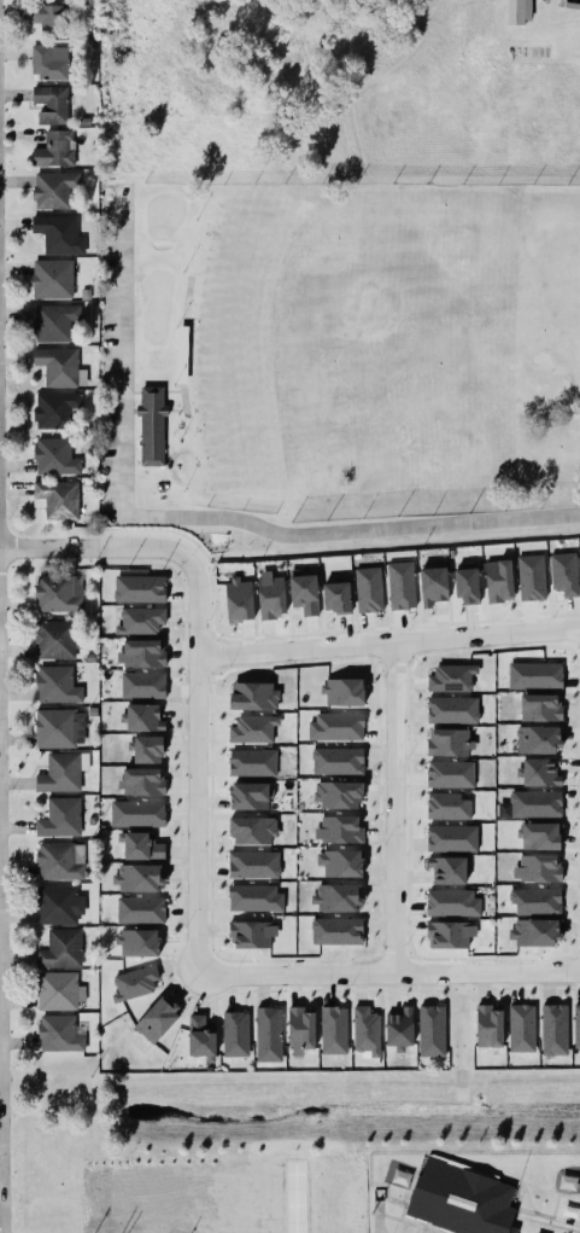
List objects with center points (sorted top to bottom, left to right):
road: (568, 5)
road: (526, 8)
building: (514, 11)
building: (49, 18)
building: (49, 62)
building: (52, 104)
building: (55, 149)
building: (54, 188)
park: (163, 211)
building: (59, 234)
building: (53, 279)
park: (154, 303)
building: (54, 321)
road: (182, 344)
park: (355, 347)
road: (123, 365)
building: (60, 366)
parking lot: (107, 370)
road: (130, 391)
building: (58, 409)
road: (128, 409)
road: (174, 409)
road: (163, 417)
building: (150, 424)
building: (55, 456)
building: (58, 499)
road: (351, 529)
road: (94, 547)
building: (564, 572)
building: (532, 577)
building: (499, 580)
building: (467, 583)
building: (402, 584)
building: (434, 584)
building: (140, 588)
building: (369, 589)
building: (304, 592)
building: (59, 593)
building: (270, 595)
building: (336, 597)
building: (240, 599)
building: (140, 621)
building: (54, 639)
road: (388, 641)
building: (141, 653)
building: (535, 675)
building: (452, 677)
building: (57, 685)
building: (142, 685)
building: (344, 692)
building: (254, 696)
building: (540, 706)
building: (452, 709)
building: (142, 717)
building: (336, 726)
building: (59, 728)
building: (253, 728)
building: (538, 739)
building: (450, 741)
building: (147, 749)
building: (338, 761)
building: (252, 762)
building: (63, 772)
building: (540, 772)
building: (451, 774)
building: (142, 781)
building: (338, 793)
building: (248, 796)
building: (535, 803)
building: (449, 805)
road: (396, 807)
building: (137, 813)
building: (60, 818)
building: (339, 830)
building: (253, 831)
building: (540, 836)
building: (452, 838)
building: (141, 845)
building: (60, 860)
building: (340, 862)
building: (254, 863)
building: (538, 868)
building: (447, 870)
building: (140, 877)
building: (254, 897)
building: (338, 897)
building: (537, 900)
building: (452, 902)
building: (58, 905)
building: (141, 909)
building: (336, 930)
building: (534, 932)
building: (252, 934)
building: (450, 934)
building: (139, 942)
building: (61, 949)
road: (195, 958)
building: (135, 982)
building: (59, 990)
building: (157, 1019)
building: (490, 1025)
building: (576, 1025)
building: (399, 1028)
building: (522, 1028)
building: (301, 1029)
building: (334, 1029)
building: (555, 1029)
building: (367, 1030)
building: (432, 1030)
building: (59, 1034)
building: (236, 1034)
building: (269, 1034)
building: (201, 1036)
road: (2, 1147)
building: (399, 1177)
road: (552, 1180)
building: (566, 1182)
road: (519, 1187)
road: (406, 1193)
building: (459, 1198)
road: (294, 1199)
road: (529, 1209)
building: (569, 1210)
road: (379, 1216)
road: (547, 1220)
road: (409, 1222)
parking lot: (405, 1228)
building: (537, 1232)

